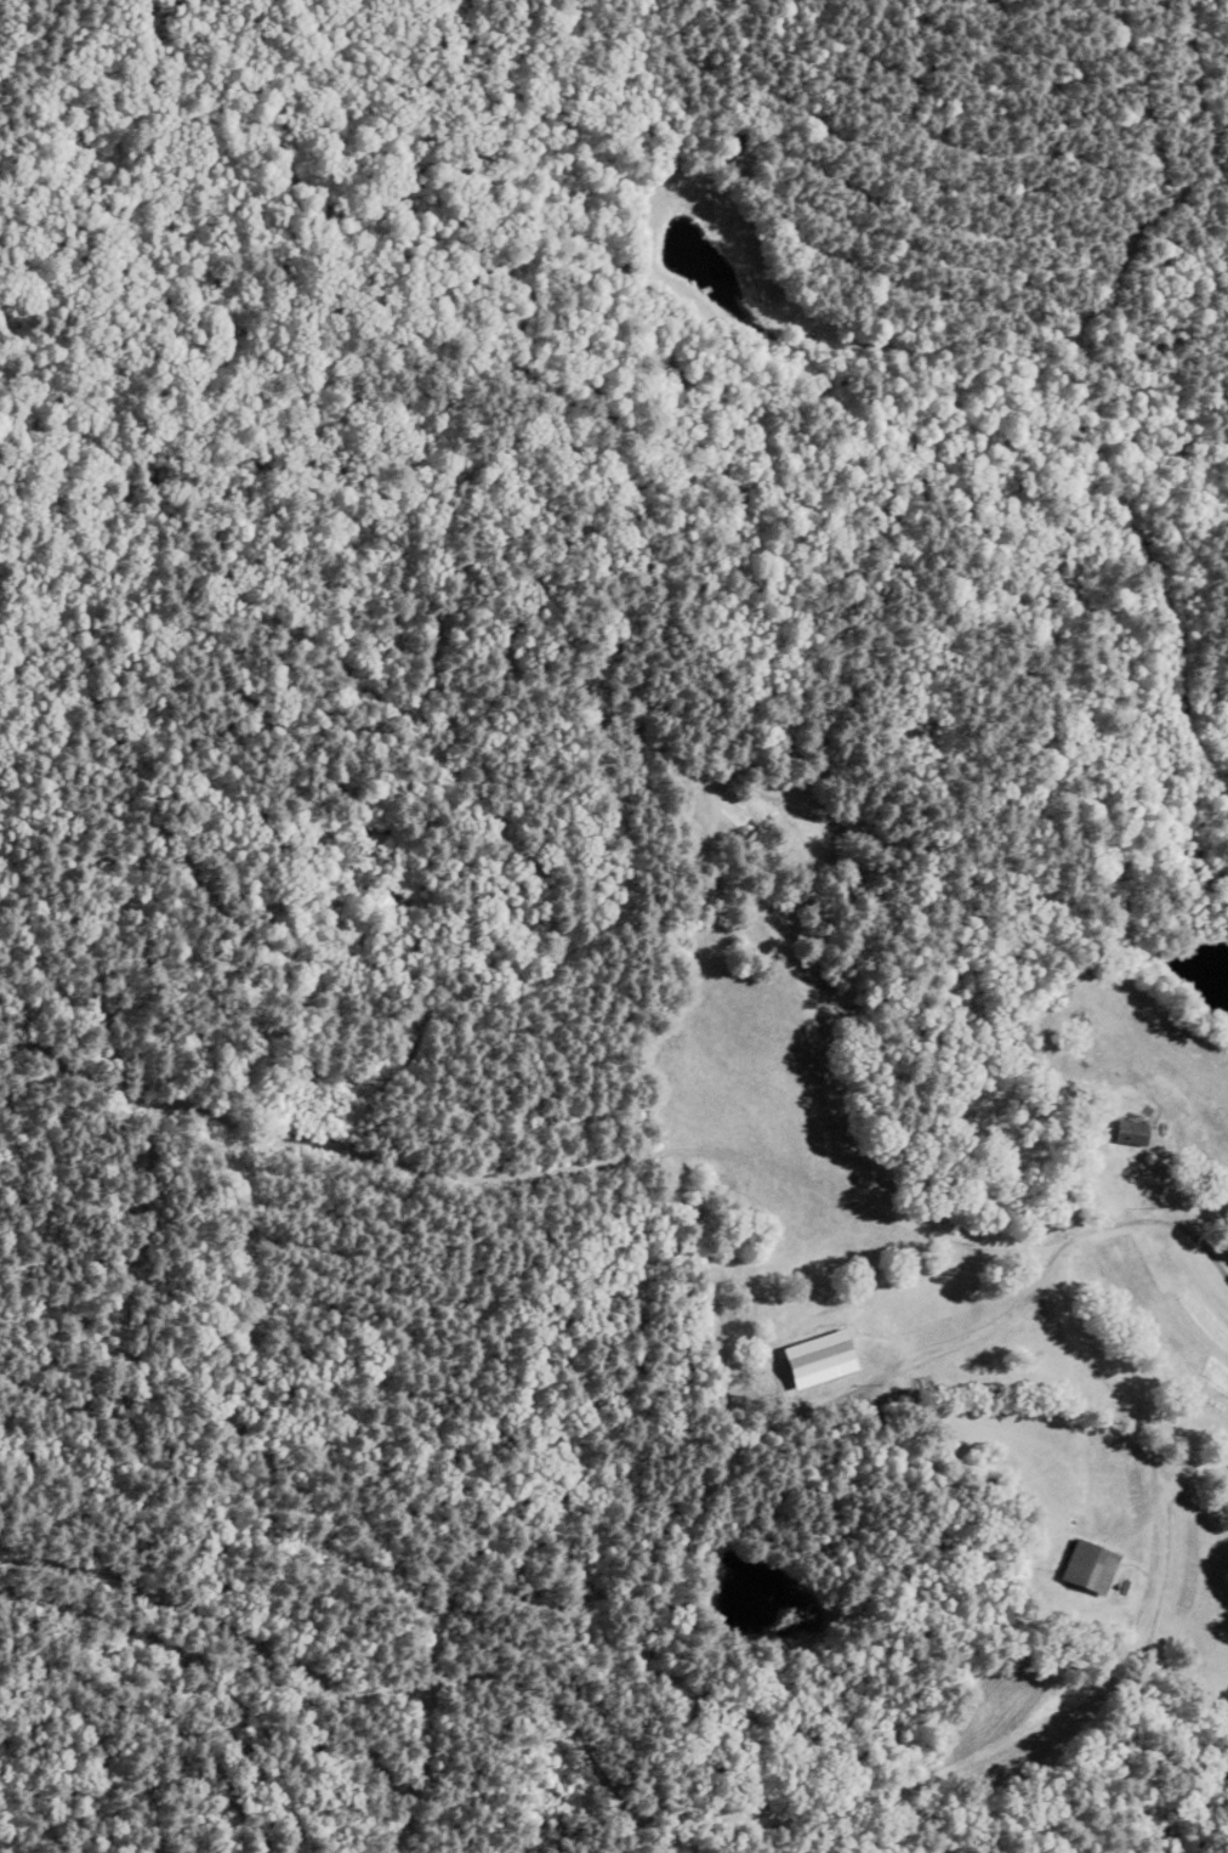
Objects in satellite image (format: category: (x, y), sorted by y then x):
road: (1025, 1083)
building: (1128, 1133)
building: (795, 1350)
building: (1087, 1568)

